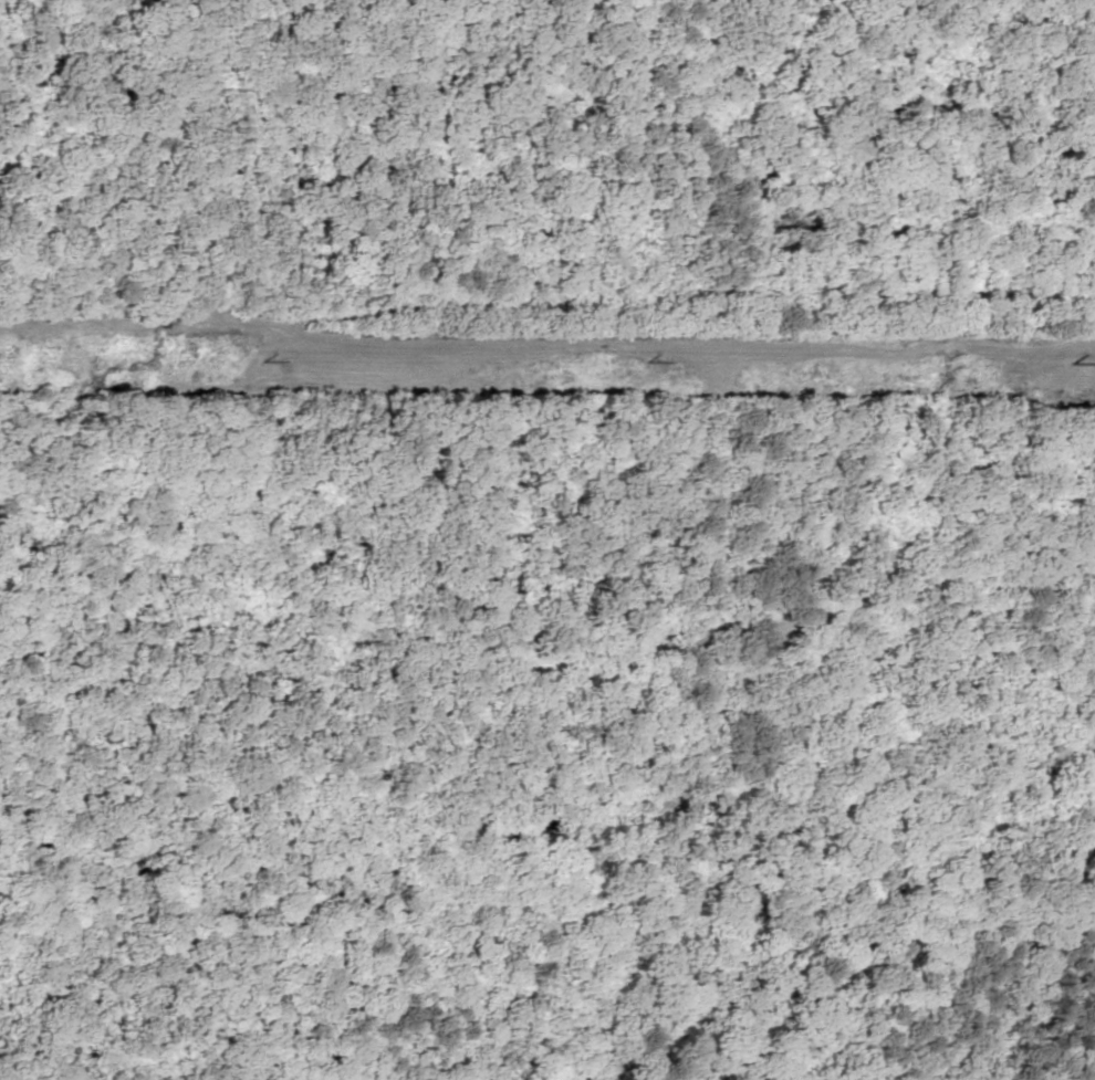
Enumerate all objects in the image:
power tower: (264, 363)
power tower: (651, 364)
road: (1050, 890)

